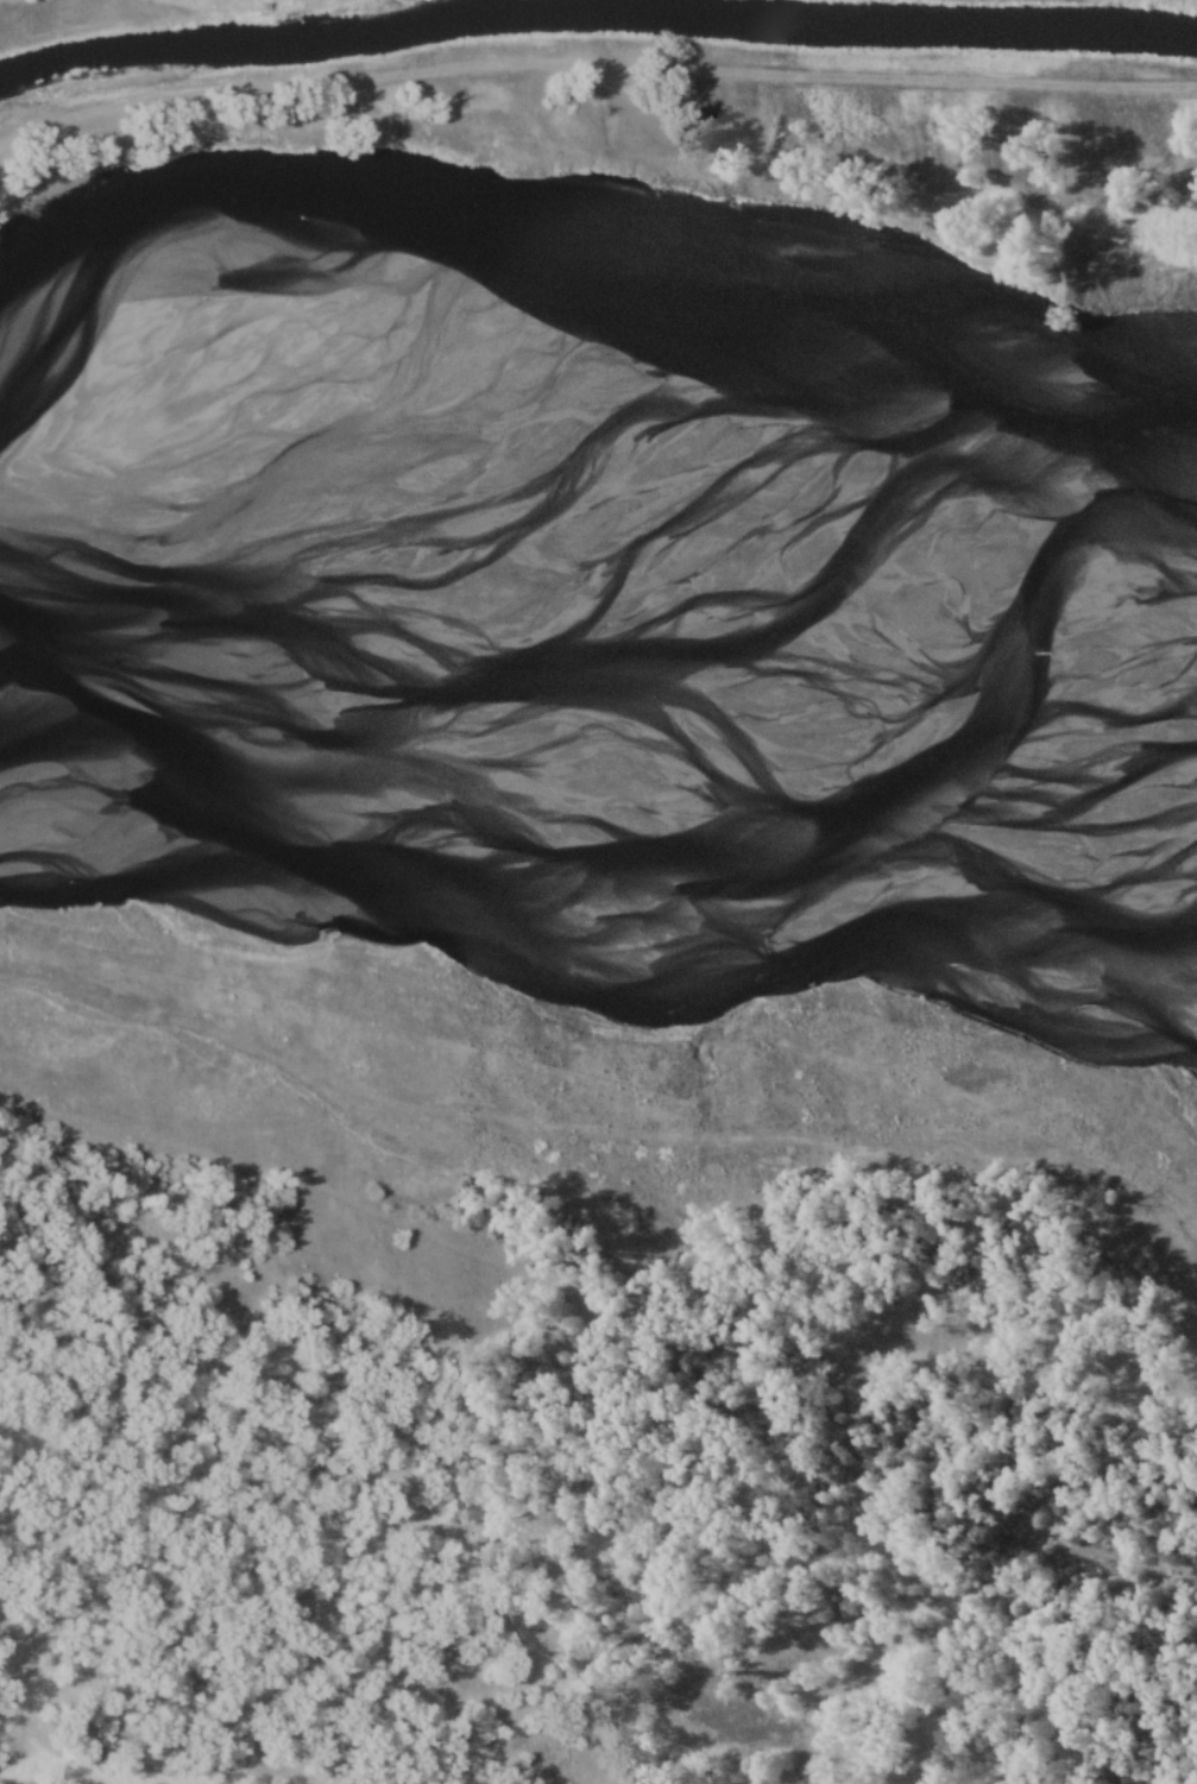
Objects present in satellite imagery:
road: (594, 71)
river: (601, 418)

